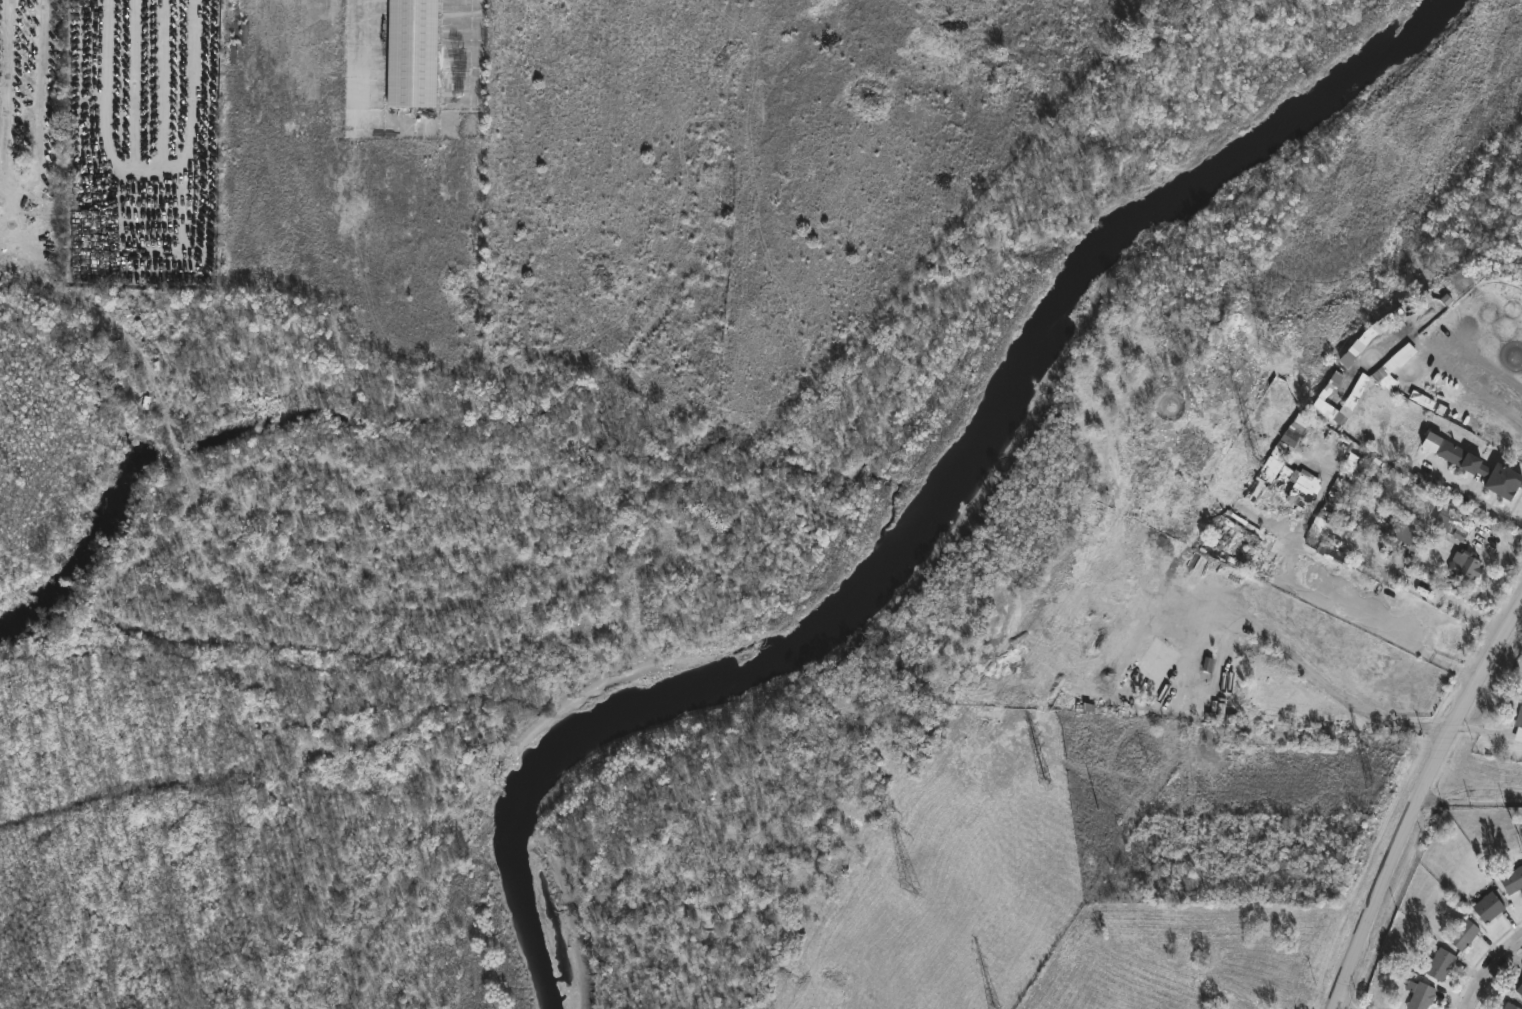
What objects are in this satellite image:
building: (415, 53)
power tower: (1273, 342)
power tower: (1257, 462)
building: (1361, 469)
building: (1481, 469)
building: (1285, 473)
building: (1333, 495)
road: (1320, 497)
road: (1473, 499)
building: (1457, 523)
road: (1271, 527)
building: (1412, 530)
building: (1237, 538)
building: (1328, 549)
building: (1266, 555)
building: (1464, 565)
road: (1300, 590)
road: (1327, 685)
building: (1518, 725)
power tower: (1047, 783)
power tower: (1373, 783)
road: (1417, 803)
road: (1470, 803)
building: (1512, 880)
power tower: (911, 888)
building: (1487, 907)
building: (1463, 934)
building: (1440, 964)
road: (1493, 976)
building: (1519, 989)
building: (1421, 996)
building: (1511, 1006)
power tower: (997, 1008)

